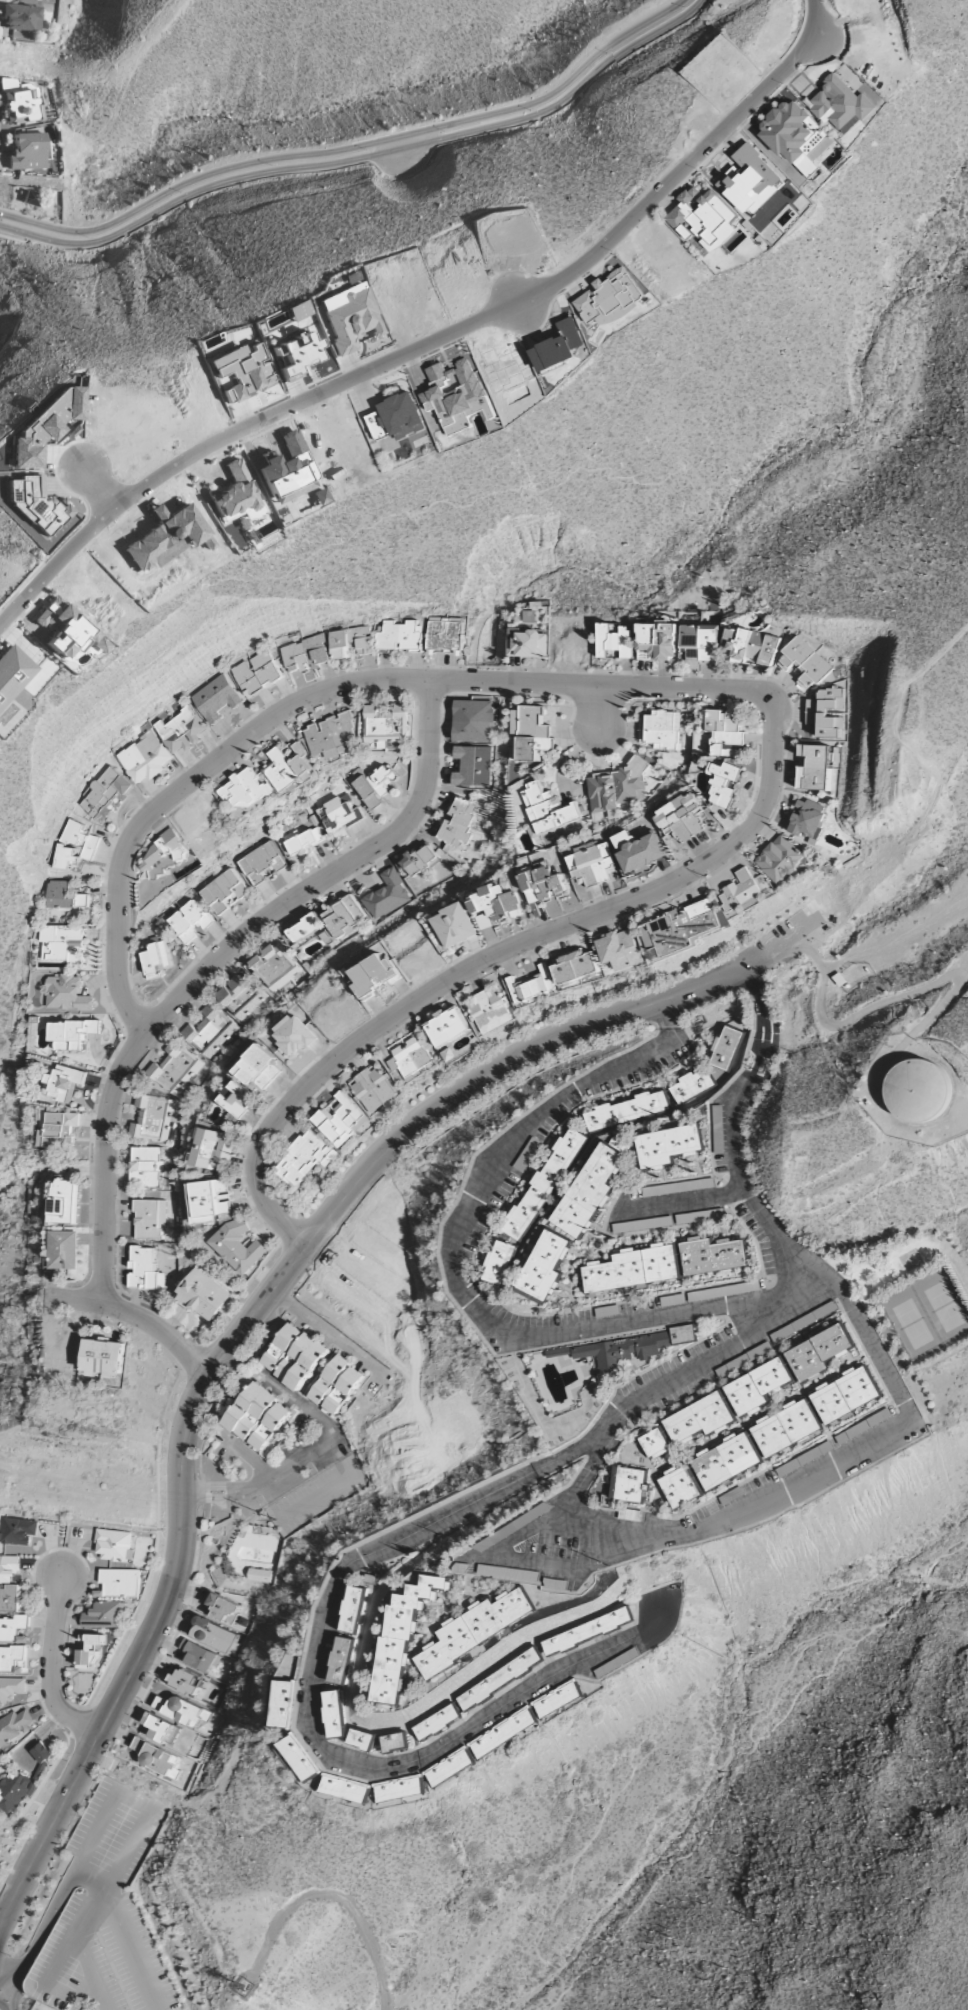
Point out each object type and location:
building: (21, 18)
building: (17, 102)
building: (840, 105)
building: (26, 151)
road: (356, 153)
building: (703, 217)
building: (609, 299)
building: (298, 311)
building: (349, 316)
road: (434, 340)
building: (558, 346)
building: (453, 394)
building: (396, 418)
building: (45, 427)
building: (234, 492)
building: (34, 504)
building: (530, 617)
building: (63, 629)
building: (445, 634)
building: (399, 636)
building: (615, 641)
building: (700, 641)
building: (349, 642)
building: (658, 643)
building: (528, 645)
building: (751, 645)
building: (99, 646)
building: (304, 654)
building: (804, 662)
building: (13, 673)
building: (256, 673)
road: (745, 691)
building: (216, 699)
road: (586, 710)
building: (474, 721)
building: (387, 724)
building: (182, 730)
building: (660, 730)
building: (724, 733)
building: (529, 734)
building: (333, 736)
building: (141, 754)
building: (473, 766)
building: (814, 766)
building: (287, 770)
building: (723, 783)
building: (375, 785)
building: (617, 787)
building: (246, 790)
building: (103, 794)
building: (548, 810)
building: (339, 814)
building: (681, 820)
building: (807, 820)
building: (457, 823)
building: (623, 840)
building: (302, 841)
building: (74, 846)
building: (165, 853)
building: (643, 854)
building: (780, 859)
building: (420, 861)
building: (261, 862)
building: (591, 863)
building: (540, 884)
building: (223, 891)
building: (59, 895)
building: (385, 895)
building: (82, 901)
building: (493, 906)
building: (340, 919)
building: (189, 921)
building: (454, 925)
building: (305, 928)
parking lot: (917, 928)
building: (680, 930)
parking lot: (786, 935)
road: (896, 938)
building: (61, 943)
building: (621, 950)
building: (156, 959)
road: (219, 964)
building: (274, 967)
building: (576, 968)
building: (374, 976)
building: (67, 994)
building: (239, 998)
building: (491, 1009)
road: (869, 1014)
building: (449, 1027)
building: (209, 1031)
building: (71, 1034)
building: (294, 1036)
building: (725, 1049)
building: (412, 1058)
building: (259, 1068)
building: (174, 1069)
building: (63, 1084)
building: (691, 1086)
building: (374, 1090)
building: (916, 1093)
storage tank: (916, 1093)
building: (233, 1098)
building: (626, 1111)
building: (151, 1118)
building: (340, 1119)
building: (58, 1130)
building: (667, 1146)
building: (212, 1150)
building: (526, 1155)
building: (306, 1158)
building: (146, 1166)
building: (543, 1184)
building: (589, 1192)
building: (214, 1201)
building: (64, 1202)
road: (682, 1202)
building: (700, 1216)
building: (149, 1219)
building: (239, 1246)
building: (64, 1250)
building: (713, 1256)
building: (498, 1263)
road: (454, 1265)
building: (545, 1266)
building: (633, 1269)
building: (144, 1270)
building: (203, 1295)
building: (697, 1296)
road: (245, 1306)
road: (137, 1316)
road: (248, 1322)
road: (249, 1333)
building: (631, 1347)
building: (819, 1353)
building: (295, 1356)
building: (102, 1358)
road: (878, 1363)
building: (337, 1385)
building: (758, 1387)
building: (846, 1395)
building: (258, 1417)
building: (700, 1419)
building: (786, 1428)
building: (655, 1444)
building: (727, 1462)
building: (626, 1486)
building: (680, 1487)
building: (630, 1515)
power tower: (274, 1520)
building: (16, 1531)
building: (114, 1546)
road: (498, 1554)
power tower: (610, 1567)
building: (8, 1568)
building: (496, 1571)
building: (259, 1575)
road: (342, 1582)
building: (120, 1583)
building: (8, 1598)
building: (221, 1608)
building: (353, 1610)
building: (103, 1615)
building: (12, 1627)
building: (476, 1630)
building: (530, 1630)
building: (588, 1631)
building: (212, 1634)
building: (403, 1638)
building: (90, 1649)
building: (197, 1656)
building: (10, 1657)
building: (341, 1661)
road: (50, 1669)
road: (786, 1672)
building: (500, 1679)
building: (10, 1690)
building: (558, 1699)
building: (284, 1704)
building: (181, 1710)
building: (335, 1714)
building: (438, 1723)
building: (14, 1726)
building: (162, 1729)
building: (504, 1733)
building: (362, 1740)
building: (395, 1742)
building: (301, 1757)
road: (746, 1757)
building: (157, 1758)
building: (450, 1768)
building: (21, 1783)
building: (345, 1789)
building: (400, 1789)
road: (96, 1831)
road: (94, 1906)
road: (44, 1925)
road: (124, 1933)
road: (90, 1973)
road: (7, 1984)
road: (14, 1995)
road: (3, 2002)

